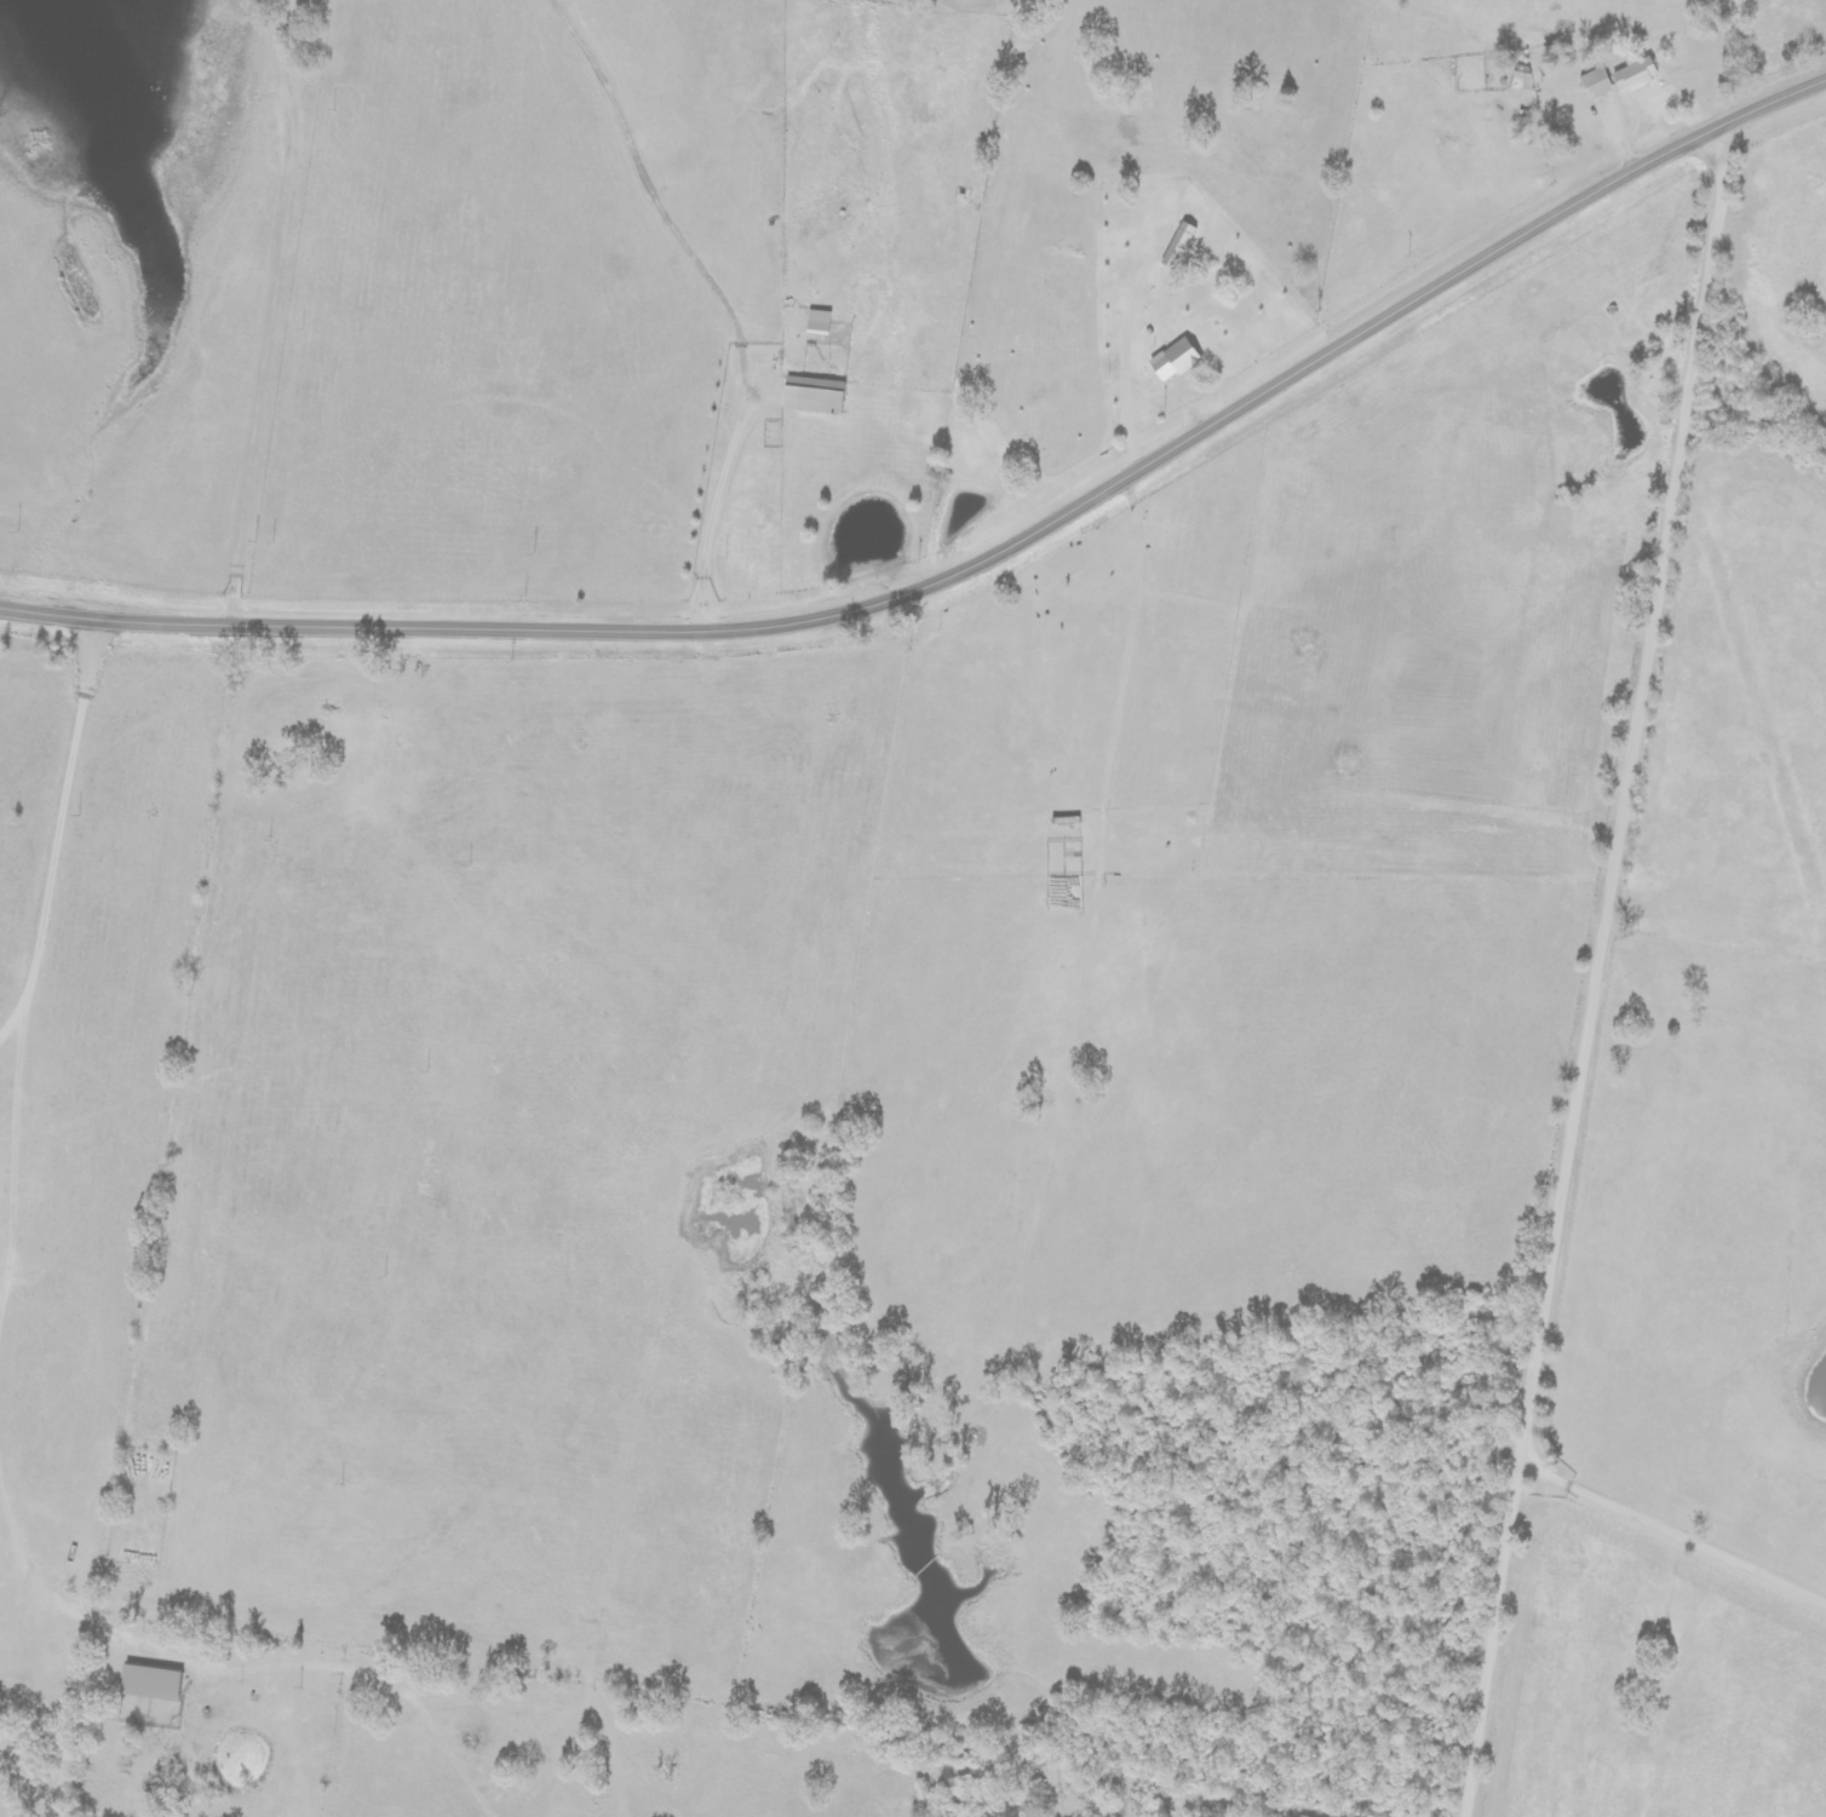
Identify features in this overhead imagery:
building: (1638, 75)
building: (1598, 85)
building: (822, 322)
building: (1182, 360)
building: (821, 396)
road: (971, 564)
road: (1603, 968)
building: (151, 1683)

